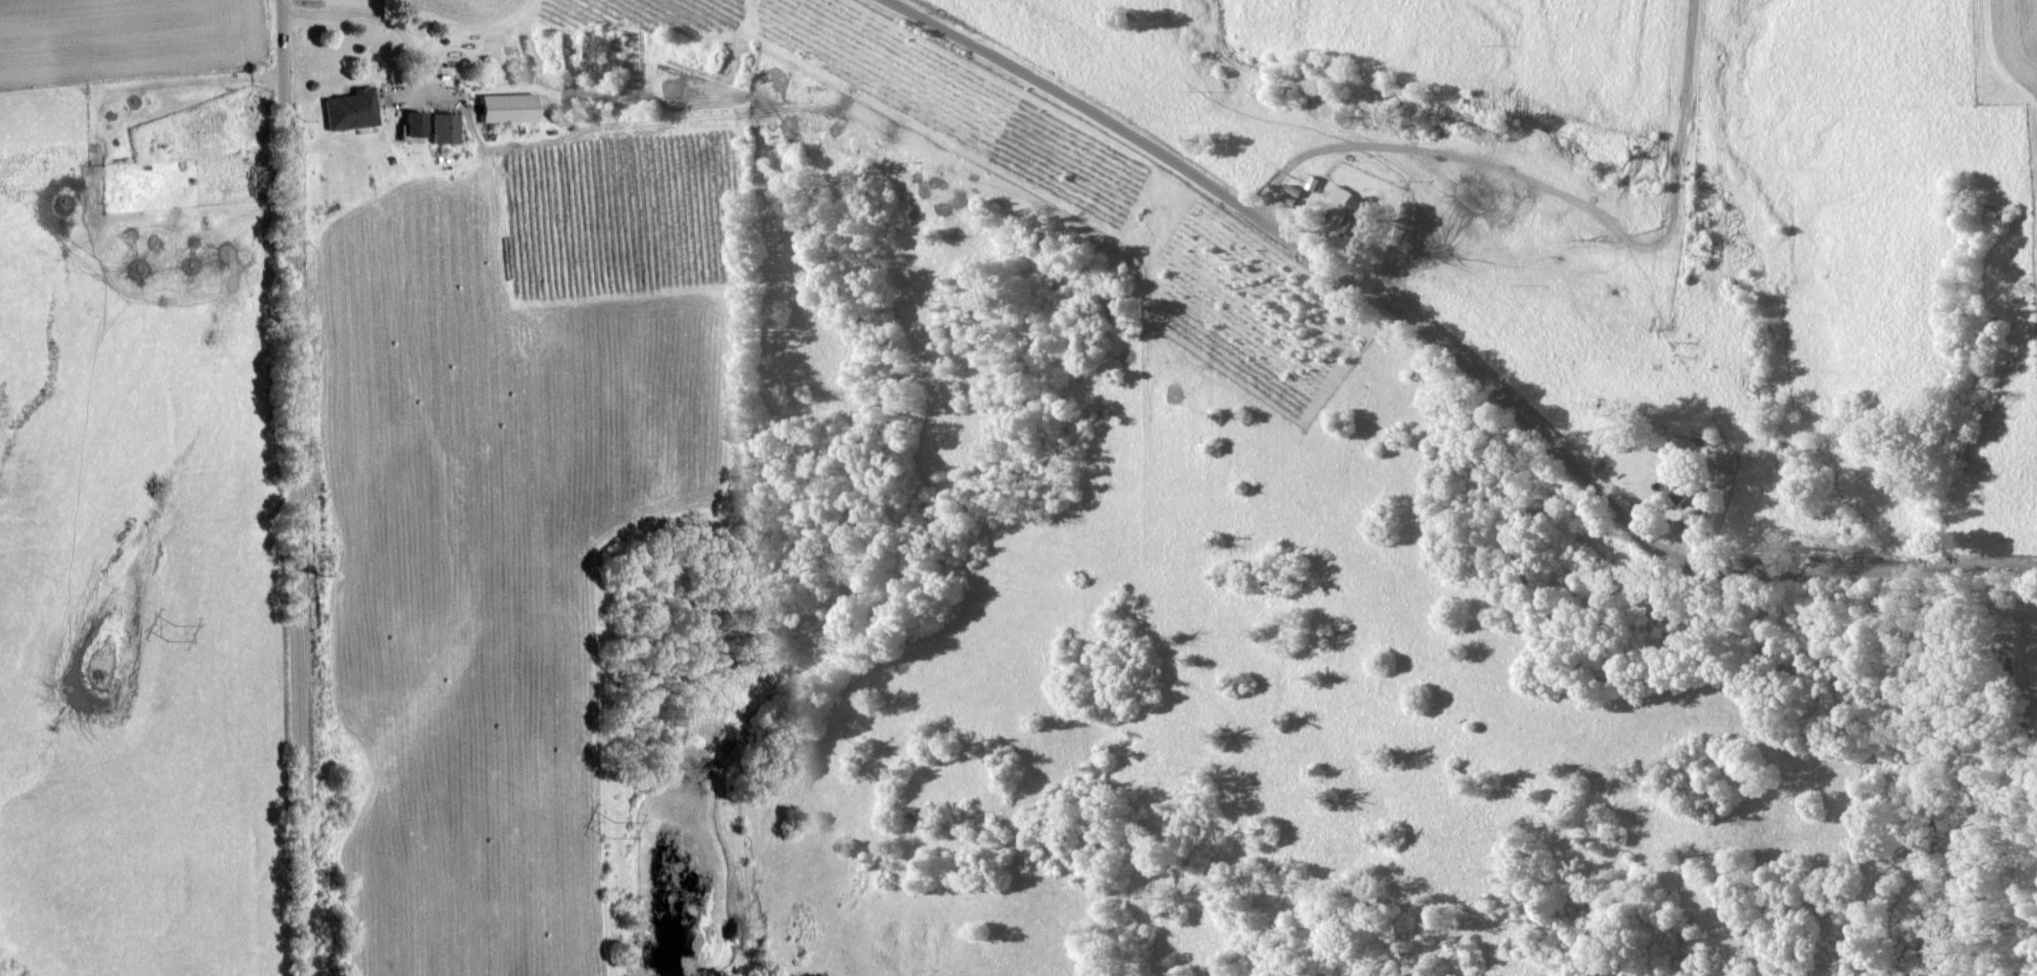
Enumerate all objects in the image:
road: (375, 25)
building: (506, 106)
building: (350, 108)
building: (412, 122)
building: (443, 127)
road: (1405, 155)
building: (1290, 199)
building: (1352, 208)
road: (1450, 355)
road: (301, 487)
power tower: (174, 634)
power tower: (611, 832)

